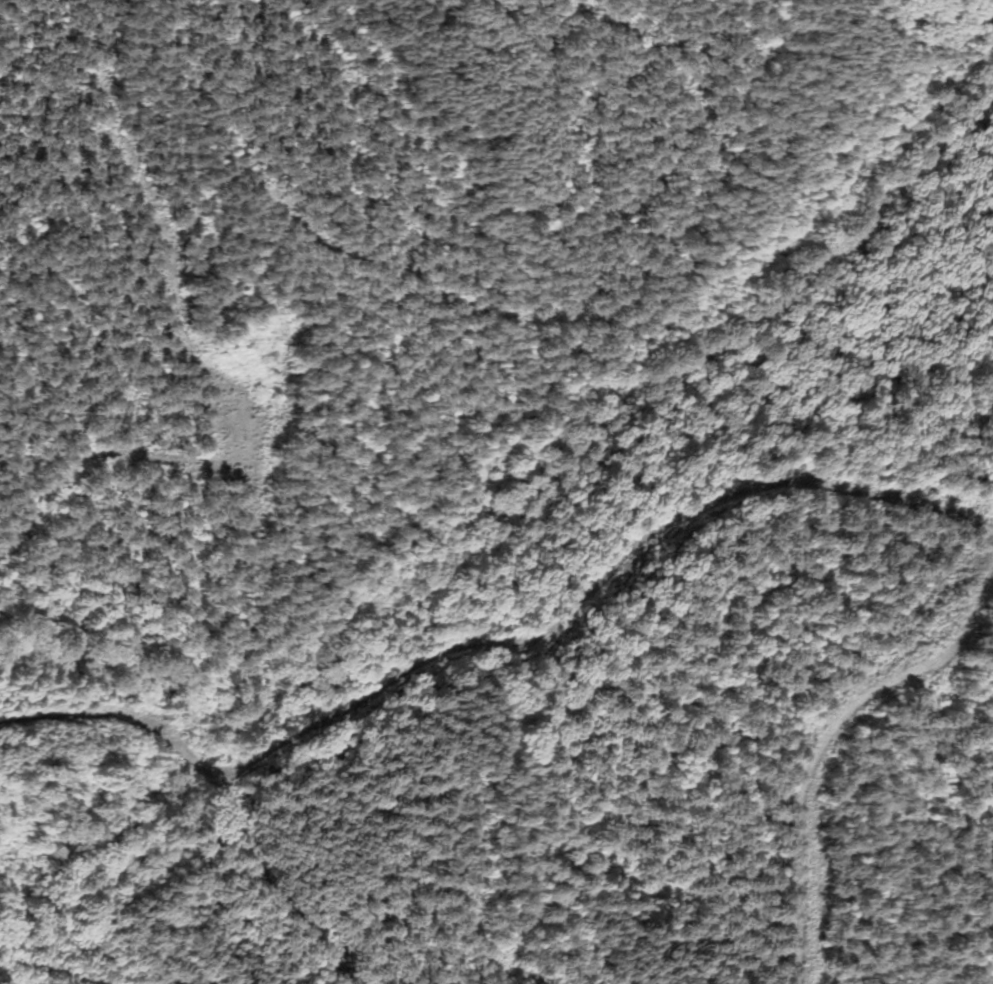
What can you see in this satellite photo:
road: (503, 643)
road: (825, 737)

